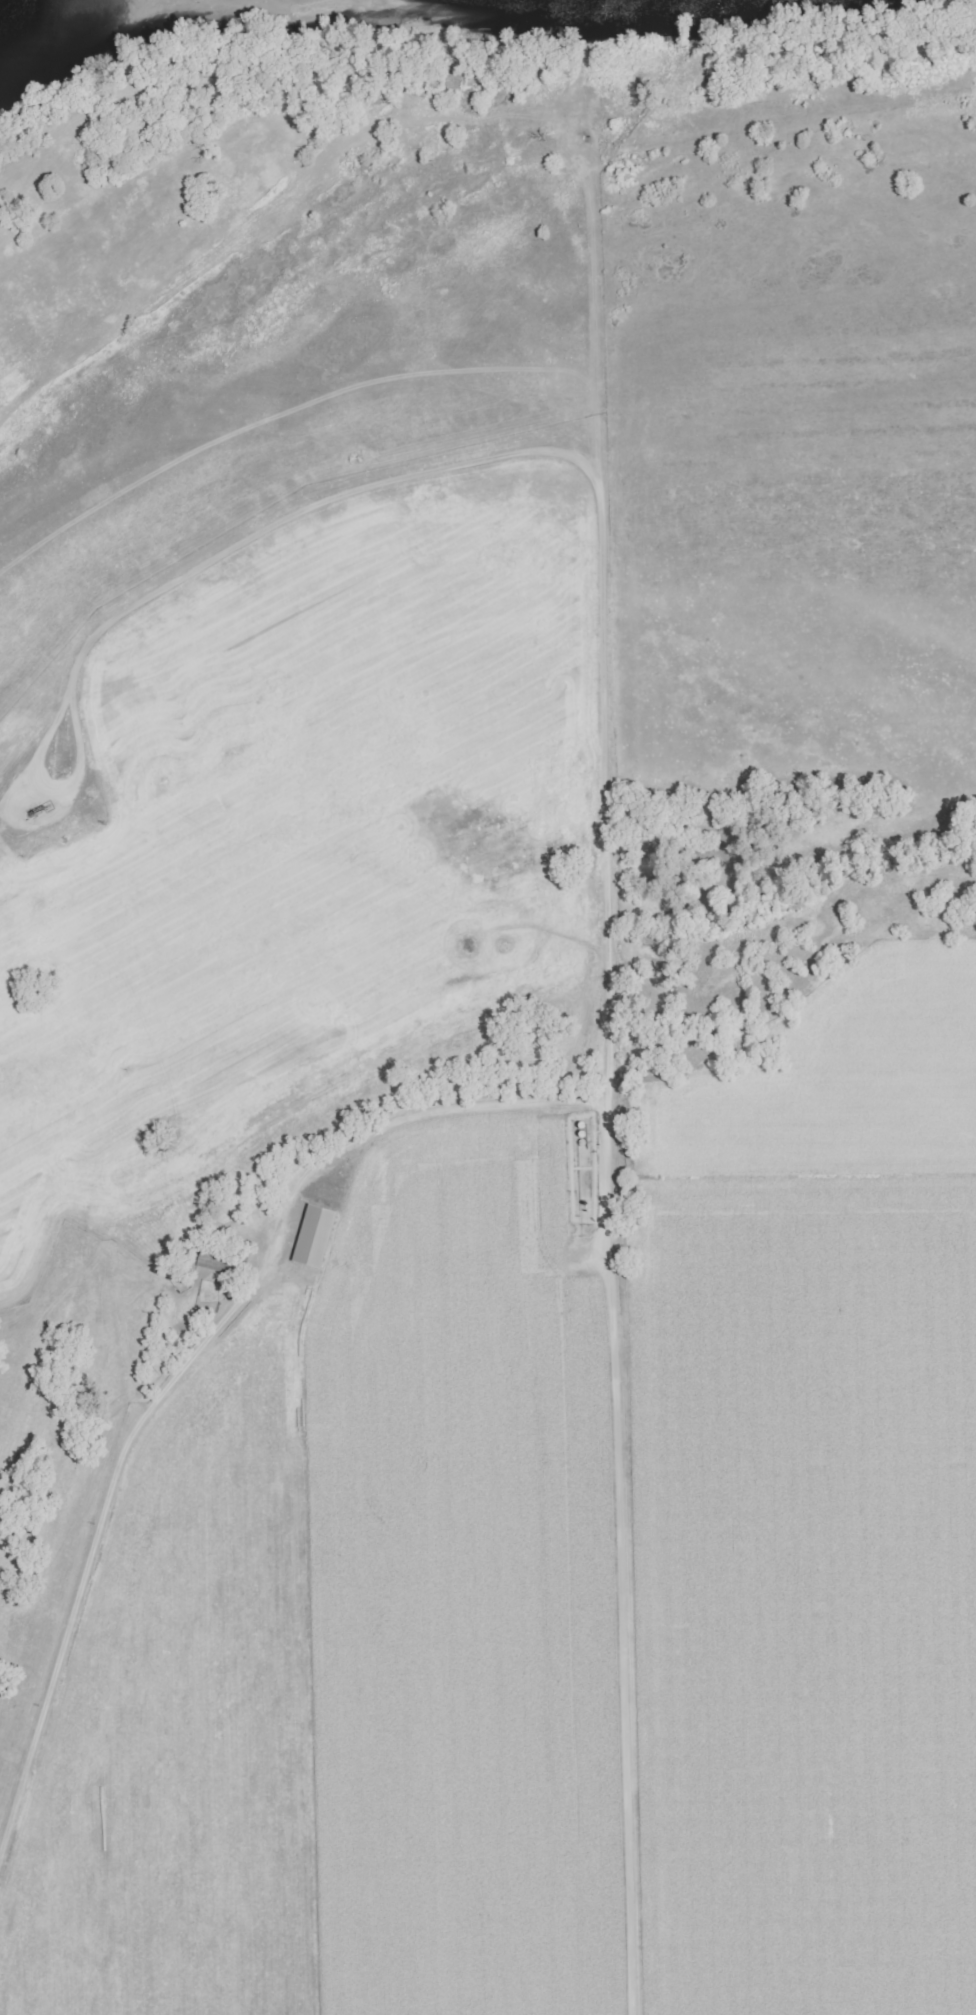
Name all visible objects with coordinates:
river: (34, 20)
road: (27, 798)
petroleum well: (46, 806)
road: (610, 920)
building: (310, 1237)
road: (174, 1375)

